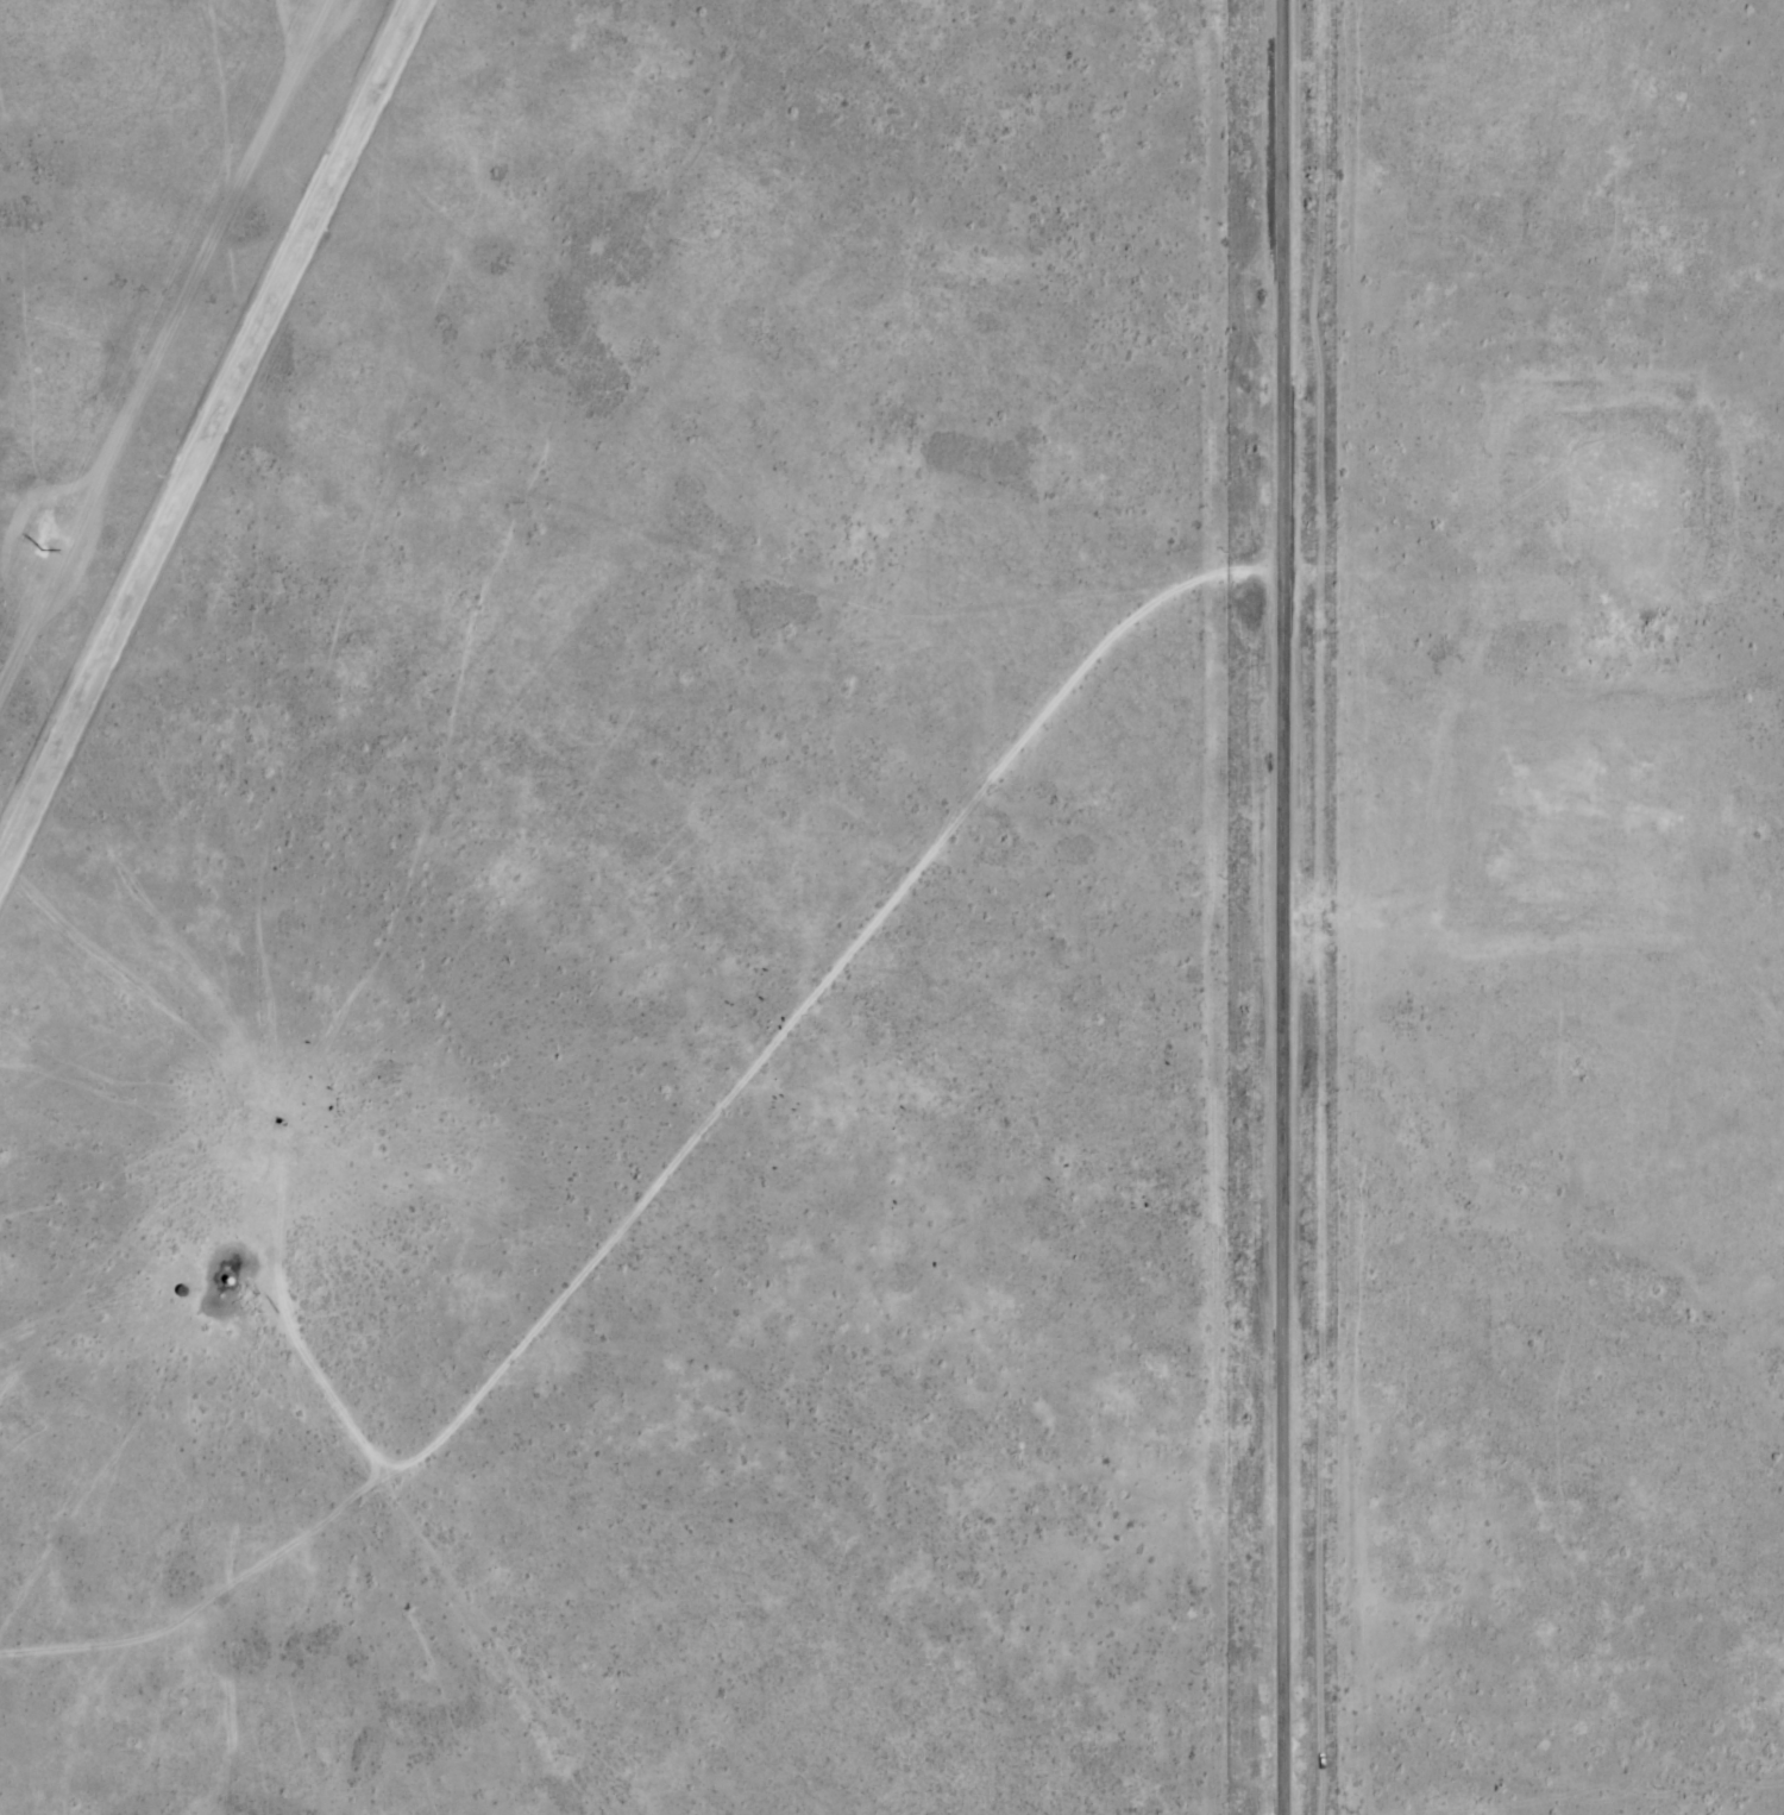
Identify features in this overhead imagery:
road: (1282, 907)

